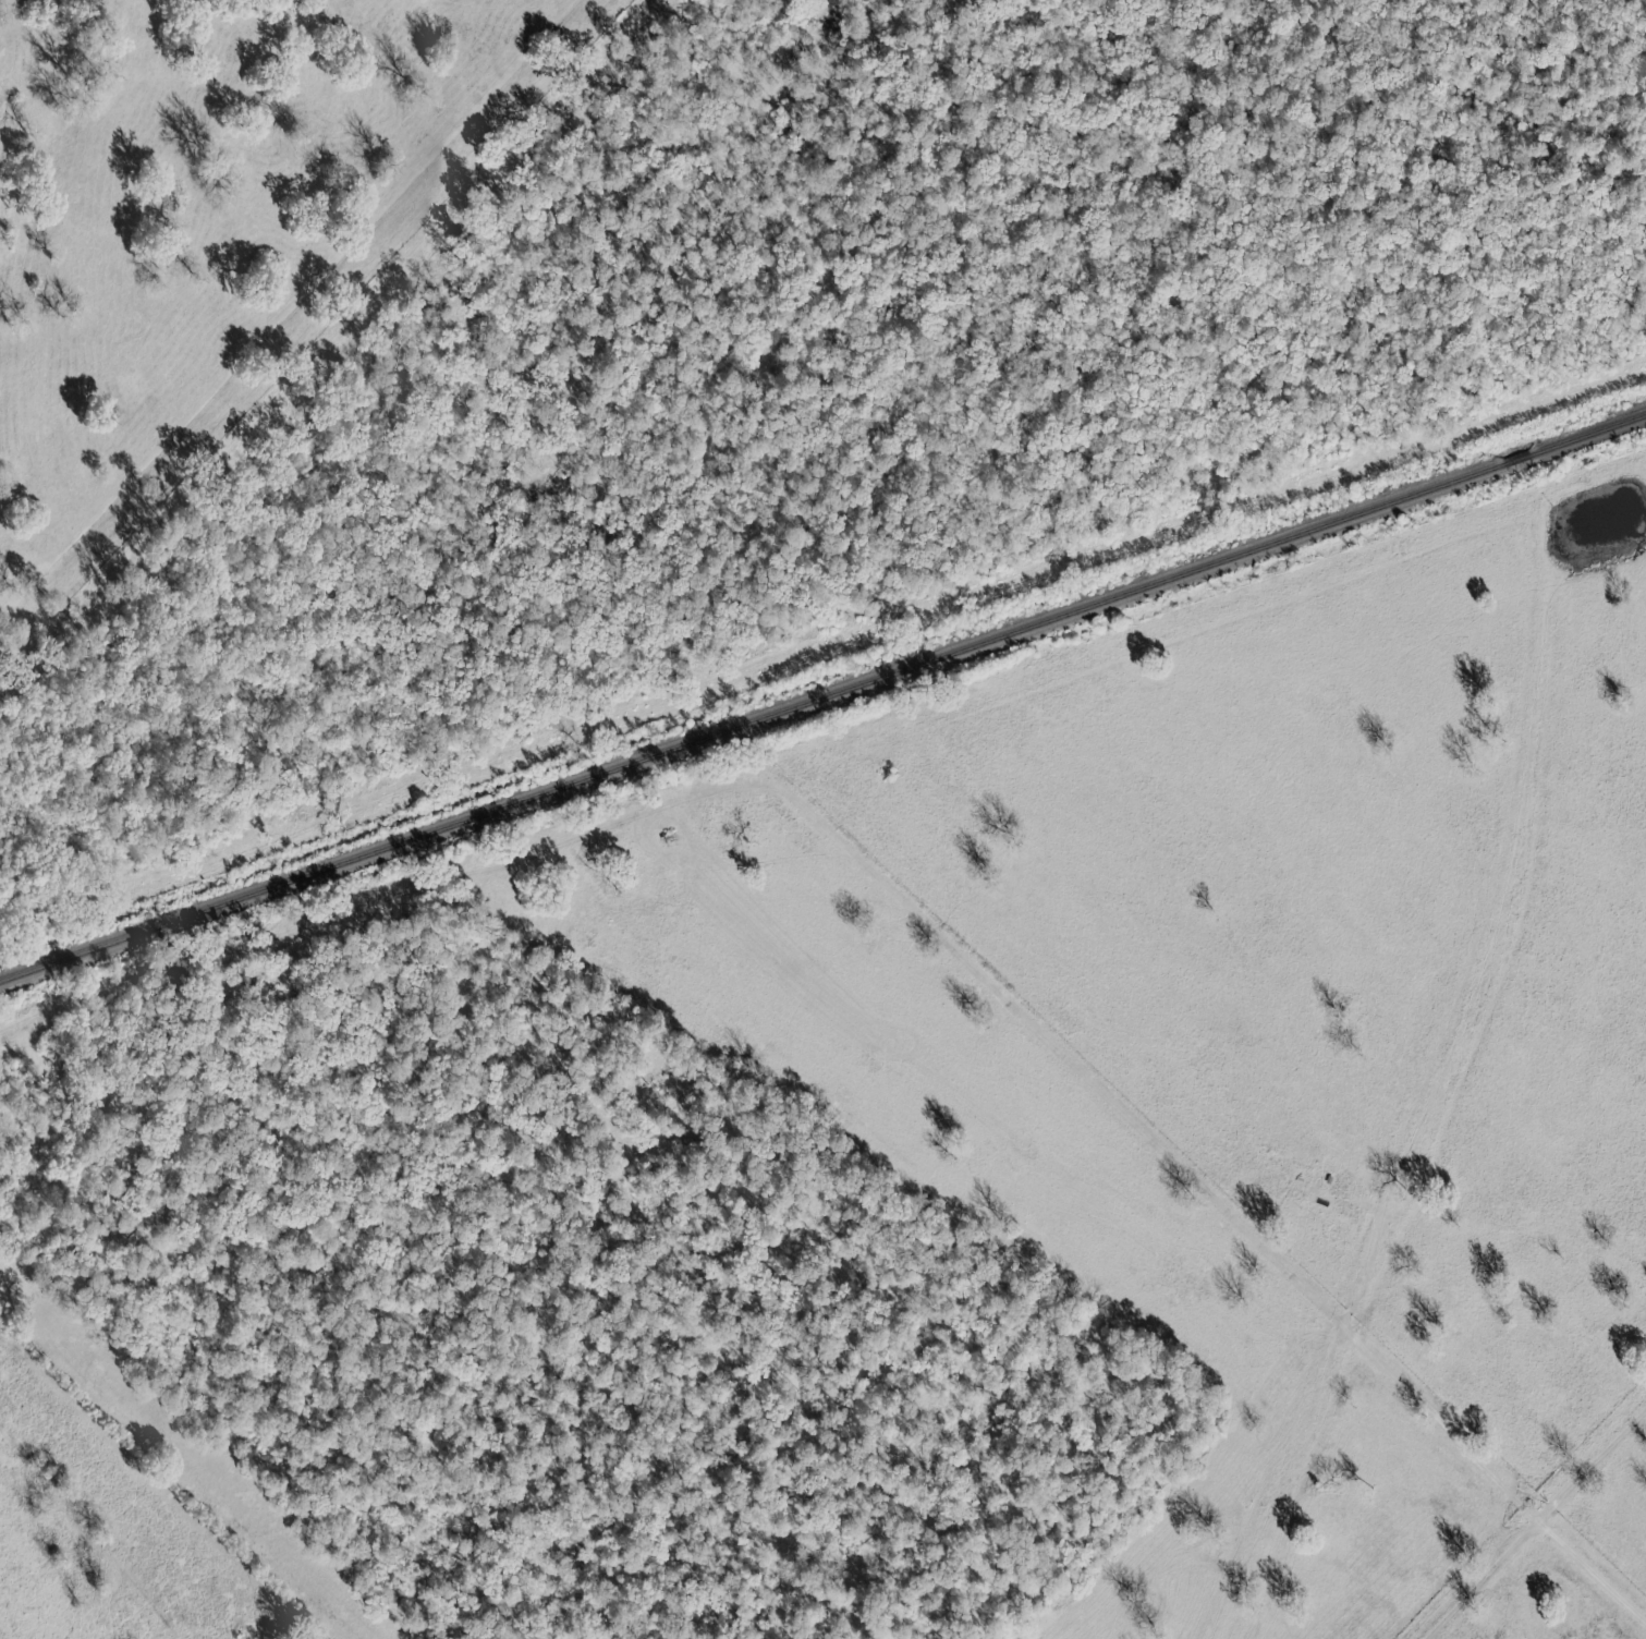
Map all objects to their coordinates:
road: (295, 316)
railway: (822, 699)
road: (1533, 1521)
road: (1592, 1566)

